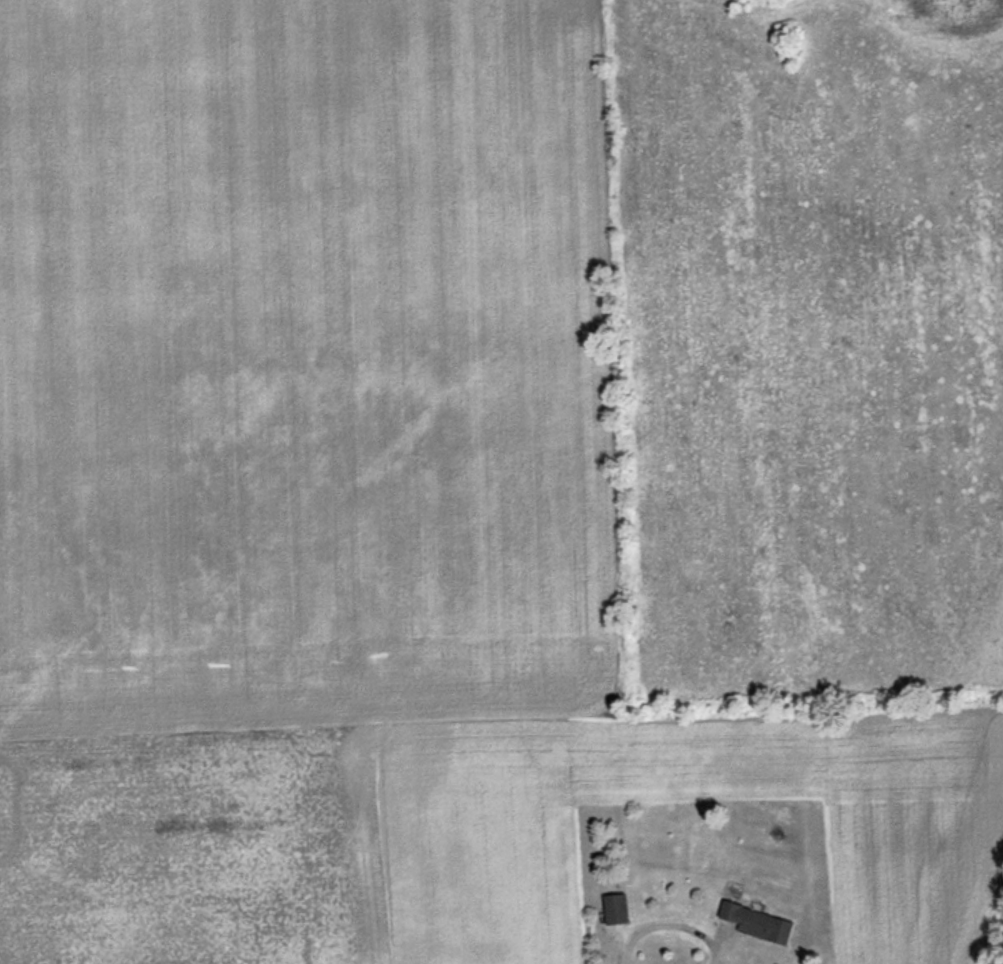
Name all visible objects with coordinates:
building: (620, 909)
building: (763, 923)

